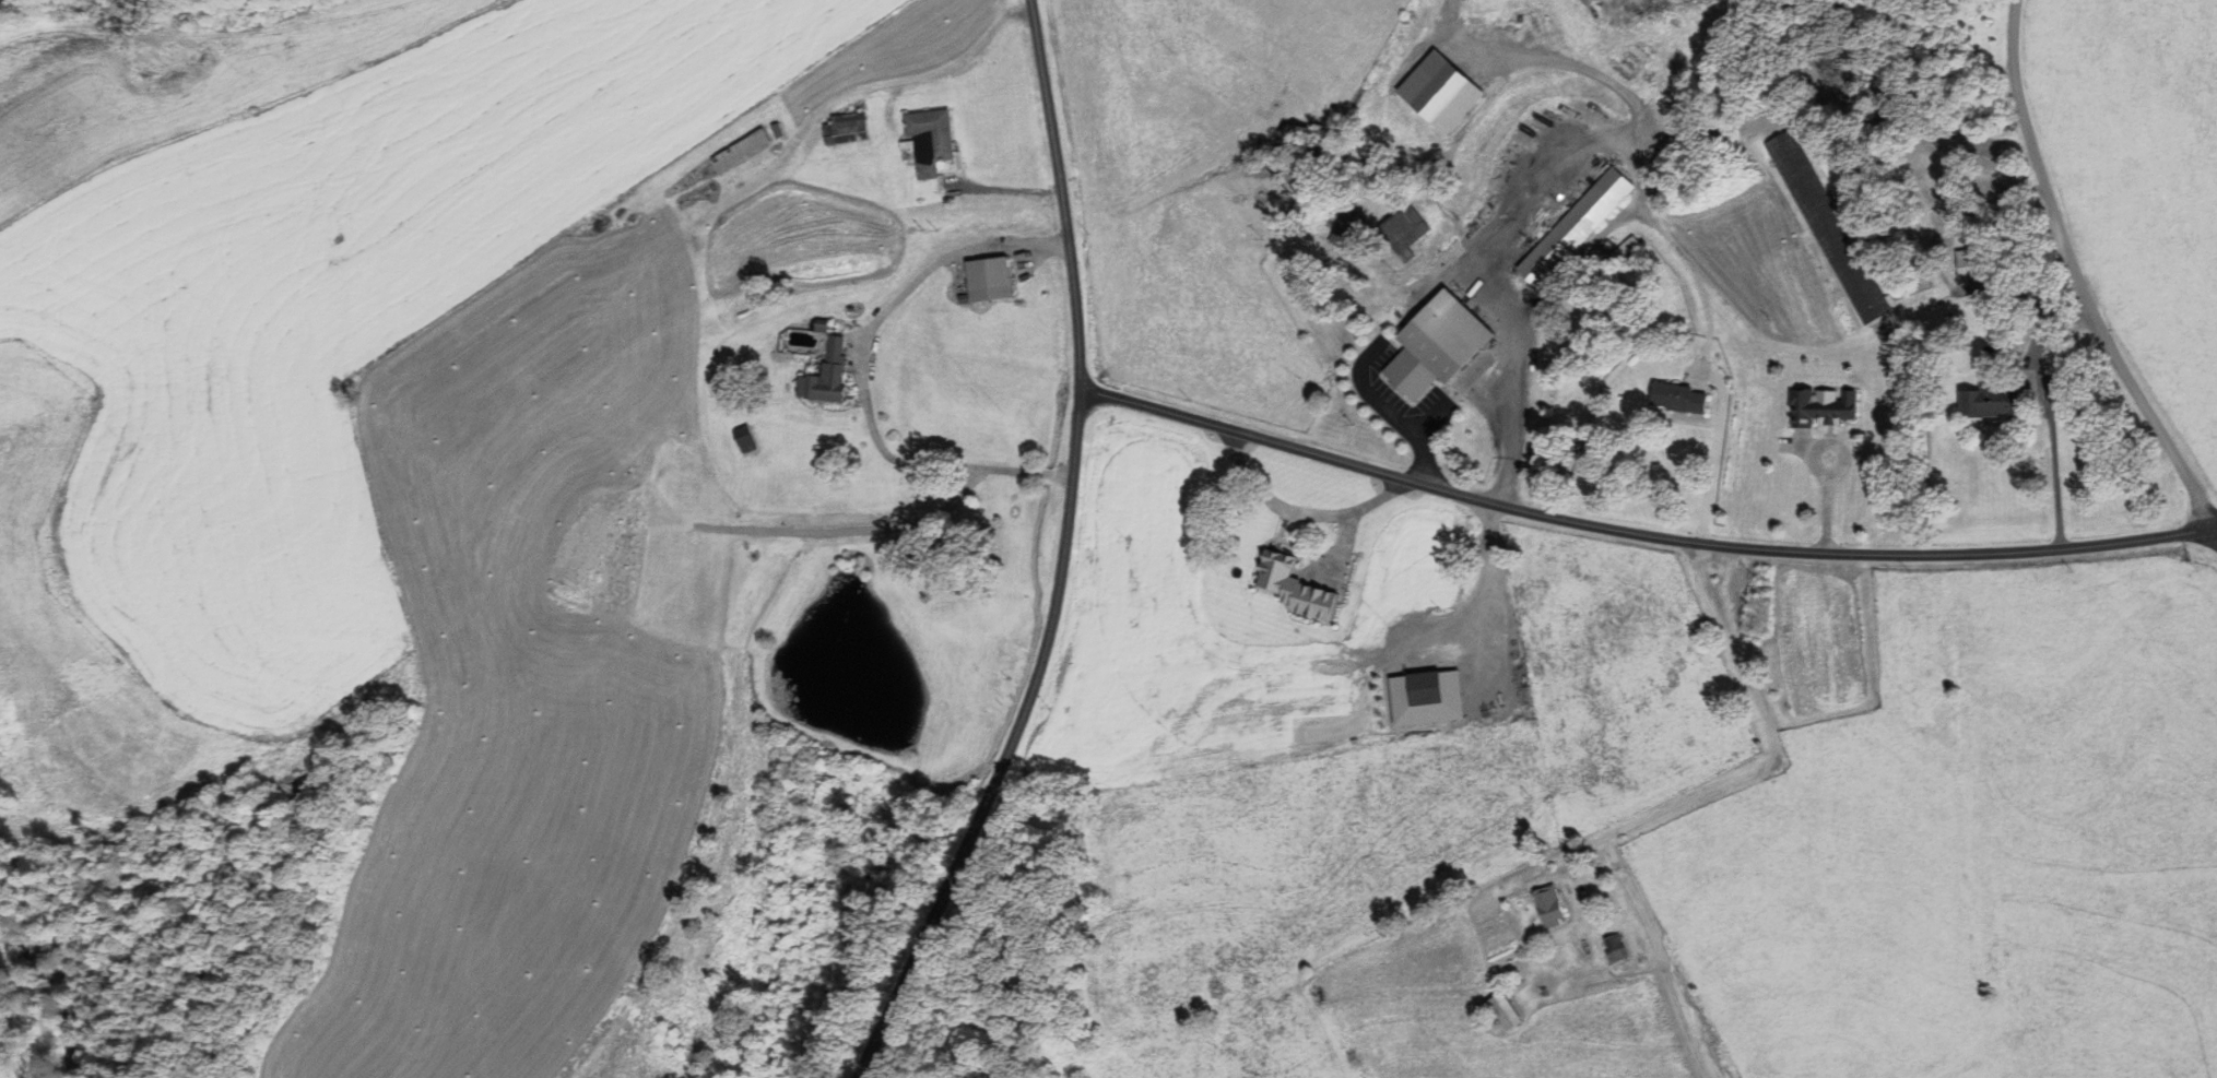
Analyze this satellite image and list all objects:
road: (920, 71)
building: (848, 128)
building: (933, 139)
building: (742, 150)
road: (1542, 162)
building: (1829, 225)
building: (1575, 227)
building: (1344, 228)
building: (1401, 228)
building: (1970, 260)
road: (2073, 277)
building: (995, 279)
road: (859, 371)
building: (827, 372)
building: (1679, 398)
building: (1989, 401)
road: (2044, 407)
building: (1829, 408)
building: (748, 438)
road: (1713, 454)
road: (1298, 511)
road: (2216, 528)
road: (1640, 534)
road: (1062, 556)
building: (1274, 570)
road: (1490, 572)
building: (1817, 680)
building: (1417, 687)
road: (1769, 745)
building: (878, 810)
building: (1543, 905)
building: (1609, 947)

